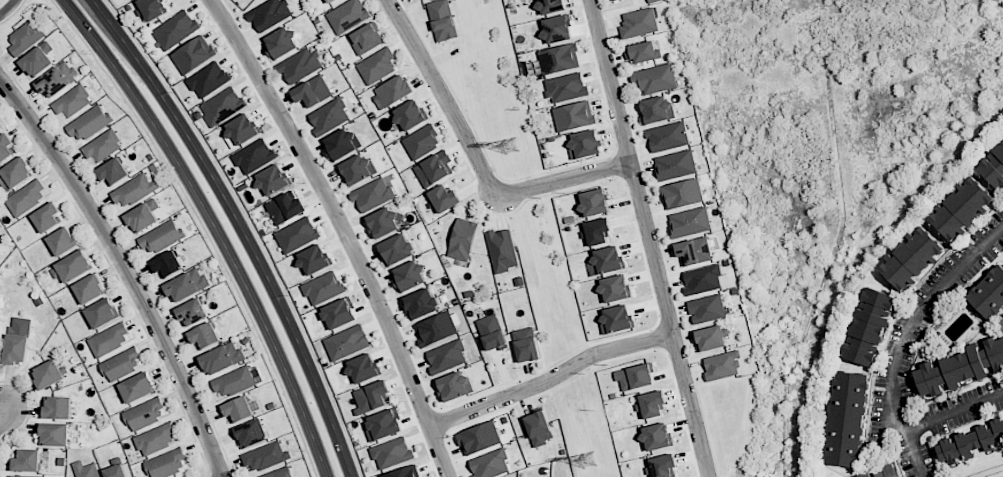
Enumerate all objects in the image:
building: (613, 0)
building: (328, 1)
building: (652, 1)
building: (550, 6)
road: (9, 8)
building: (151, 8)
building: (269, 14)
building: (347, 15)
dam: (844, 15)
building: (442, 20)
building: (638, 23)
building: (175, 29)
building: (556, 29)
building: (25, 37)
building: (366, 38)
building: (281, 43)
building: (642, 52)
building: (193, 54)
building: (38, 59)
building: (558, 59)
building: (300, 65)
building: (377, 66)
building: (654, 78)
building: (57, 79)
building: (208, 79)
building: (566, 87)
building: (394, 90)
building: (312, 91)
road: (444, 97)
building: (72, 102)
building: (222, 106)
building: (656, 109)
building: (410, 115)
building: (329, 116)
building: (573, 116)
building: (89, 123)
building: (0, 128)
building: (241, 130)
building: (667, 137)
building: (421, 141)
building: (341, 143)
building: (584, 144)
building: (102, 146)
building: (5, 147)
power tower: (512, 150)
building: (253, 156)
building: (674, 165)
building: (993, 167)
building: (433, 168)
building: (356, 169)
building: (113, 171)
building: (14, 174)
building: (272, 180)
road: (562, 180)
building: (133, 190)
building: (682, 193)
building: (372, 194)
building: (26, 198)
building: (444, 198)
building: (593, 203)
building: (287, 207)
building: (961, 209)
building: (142, 216)
building: (46, 217)
building: (689, 222)
building: (382, 223)
road: (219, 226)
road: (245, 226)
road: (202, 227)
road: (251, 227)
road: (343, 230)
building: (597, 231)
building: (297, 235)
building: (161, 237)
road: (648, 238)
building: (462, 239)
building: (62, 241)
building: (396, 249)
building: (502, 250)
building: (693, 251)
building: (911, 258)
building: (314, 259)
building: (607, 260)
building: (167, 265)
building: (72, 267)
road: (124, 271)
building: (408, 276)
building: (702, 280)
building: (186, 285)
building: (323, 288)
building: (614, 288)
building: (89, 289)
building: (989, 293)
building: (421, 303)
building: (706, 309)
building: (192, 312)
building: (102, 313)
building: (339, 313)
building: (617, 319)
building: (869, 326)
building: (437, 329)
building: (491, 333)
building: (204, 336)
building: (711, 338)
building: (17, 340)
building: (109, 340)
building: (347, 342)
building: (525, 345)
building: (446, 356)
building: (222, 358)
building: (121, 364)
building: (722, 366)
building: (959, 367)
building: (363, 368)
building: (48, 374)
building: (635, 377)
road: (550, 378)
road: (895, 380)
building: (234, 382)
building: (454, 385)
building: (137, 387)
building: (371, 396)
building: (652, 405)
building: (58, 407)
road: (2, 410)
building: (238, 410)
building: (144, 414)
building: (846, 419)
building: (383, 424)
building: (539, 428)
building: (251, 433)
building: (54, 434)
building: (656, 436)
building: (479, 438)
building: (156, 439)
building: (970, 442)
building: (391, 453)
road: (914, 454)
building: (266, 457)
building: (27, 461)
power tower: (589, 462)
building: (166, 464)
building: (490, 464)
building: (662, 465)
building: (85, 469)
building: (115, 471)
building: (405, 472)
building: (883, 472)
building: (279, 473)
building: (28, 476)

